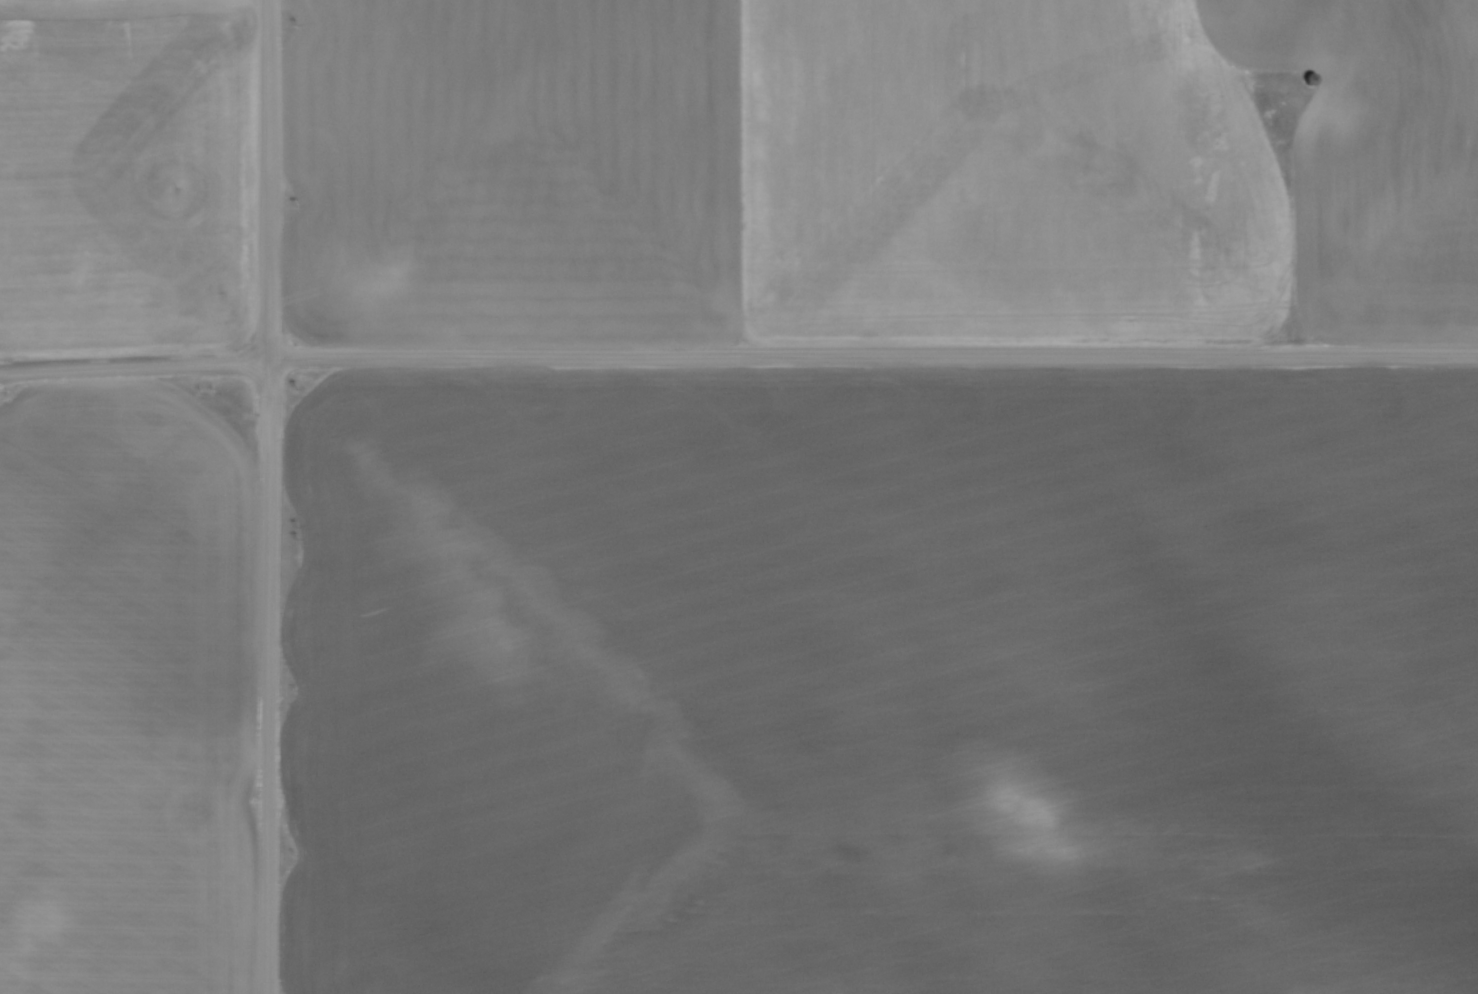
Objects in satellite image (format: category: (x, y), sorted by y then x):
building: (1307, 78)
crop: (884, 169)
crop: (126, 174)
road: (738, 358)
road: (270, 496)
crop: (881, 682)
crop: (125, 696)

